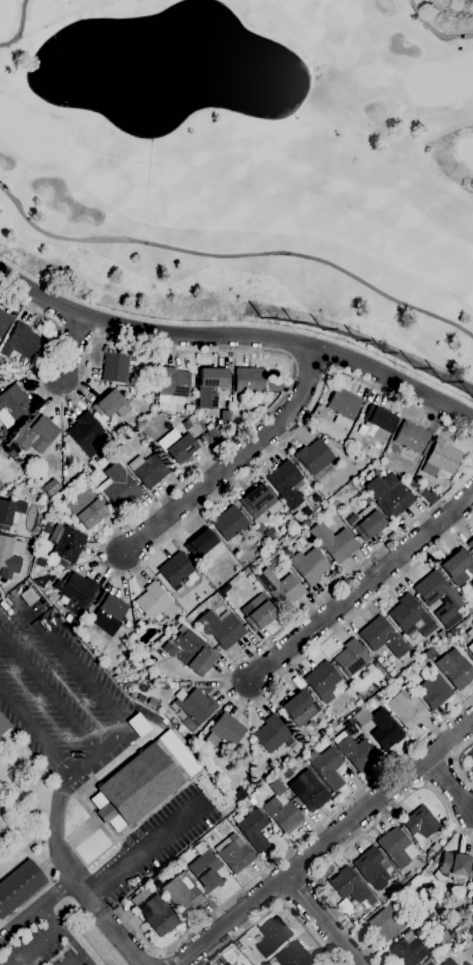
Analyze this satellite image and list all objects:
road: (20, 28)
road: (433, 31)
park: (442, 81)
park: (31, 132)
park: (247, 168)
road: (233, 256)
building: (4, 321)
road: (238, 334)
building: (21, 341)
road: (72, 349)
building: (133, 359)
building: (117, 367)
building: (249, 380)
building: (173, 382)
building: (211, 385)
building: (14, 402)
building: (110, 405)
building: (343, 406)
building: (189, 407)
building: (225, 416)
building: (377, 423)
building: (186, 424)
building: (4, 433)
building: (35, 433)
building: (86, 434)
building: (411, 437)
building: (348, 443)
building: (182, 448)
building: (426, 448)
building: (314, 456)
building: (441, 458)
road: (234, 460)
building: (0, 466)
building: (148, 470)
building: (64, 478)
road: (183, 479)
building: (286, 483)
building: (412, 483)
building: (1, 484)
building: (119, 486)
building: (389, 496)
building: (315, 498)
building: (432, 499)
building: (257, 500)
building: (85, 507)
building: (51, 509)
building: (11, 513)
building: (229, 523)
building: (305, 523)
building: (369, 525)
building: (262, 528)
building: (271, 535)
building: (293, 535)
building: (334, 542)
building: (66, 543)
building: (201, 543)
building: (470, 543)
building: (284, 552)
building: (9, 556)
building: (272, 559)
building: (40, 562)
building: (309, 565)
building: (456, 566)
building: (176, 569)
road: (361, 585)
building: (280, 588)
building: (223, 590)
building: (76, 592)
building: (437, 592)
building: (155, 603)
building: (468, 610)
building: (109, 613)
building: (259, 613)
building: (411, 615)
building: (472, 623)
building: (138, 624)
building: (221, 628)
building: (441, 633)
building: (382, 637)
building: (471, 647)
building: (194, 652)
building: (430, 653)
building: (472, 655)
building: (351, 657)
building: (132, 667)
building: (455, 669)
road: (225, 677)
building: (322, 678)
road: (84, 682)
building: (182, 685)
building: (435, 691)
road: (48, 692)
building: (359, 701)
building: (193, 707)
building: (299, 707)
building: (408, 712)
building: (332, 723)
building: (3, 724)
building: (311, 725)
building: (350, 726)
road: (35, 729)
building: (385, 729)
building: (224, 732)
building: (271, 733)
building: (319, 735)
building: (354, 751)
building: (472, 759)
road: (458, 761)
building: (328, 768)
building: (286, 772)
building: (143, 782)
road: (450, 784)
building: (276, 787)
building: (311, 791)
building: (240, 794)
building: (283, 814)
building: (420, 824)
building: (252, 829)
road: (352, 841)
road: (325, 843)
road: (294, 846)
building: (396, 847)
road: (57, 850)
road: (137, 850)
building: (429, 853)
building: (235, 856)
building: (472, 856)
building: (452, 866)
building: (372, 867)
building: (205, 869)
building: (407, 876)
building: (472, 877)
building: (155, 882)
building: (398, 883)
building: (19, 886)
building: (460, 888)
building: (350, 889)
road: (298, 891)
building: (182, 893)
road: (58, 895)
building: (137, 898)
building: (455, 904)
road: (274, 906)
road: (36, 907)
building: (469, 909)
building: (349, 912)
building: (158, 915)
road: (322, 921)
building: (386, 923)
building: (461, 925)
road: (92, 930)
road: (64, 934)
building: (273, 937)
building: (442, 937)
road: (123, 940)
building: (472, 941)
road: (35, 946)
building: (427, 946)
parking lot: (39, 948)
building: (407, 951)
building: (295, 956)
building: (472, 957)
road: (165, 958)
road: (79, 961)
building: (450, 962)
building: (230, 964)
building: (466, 964)

